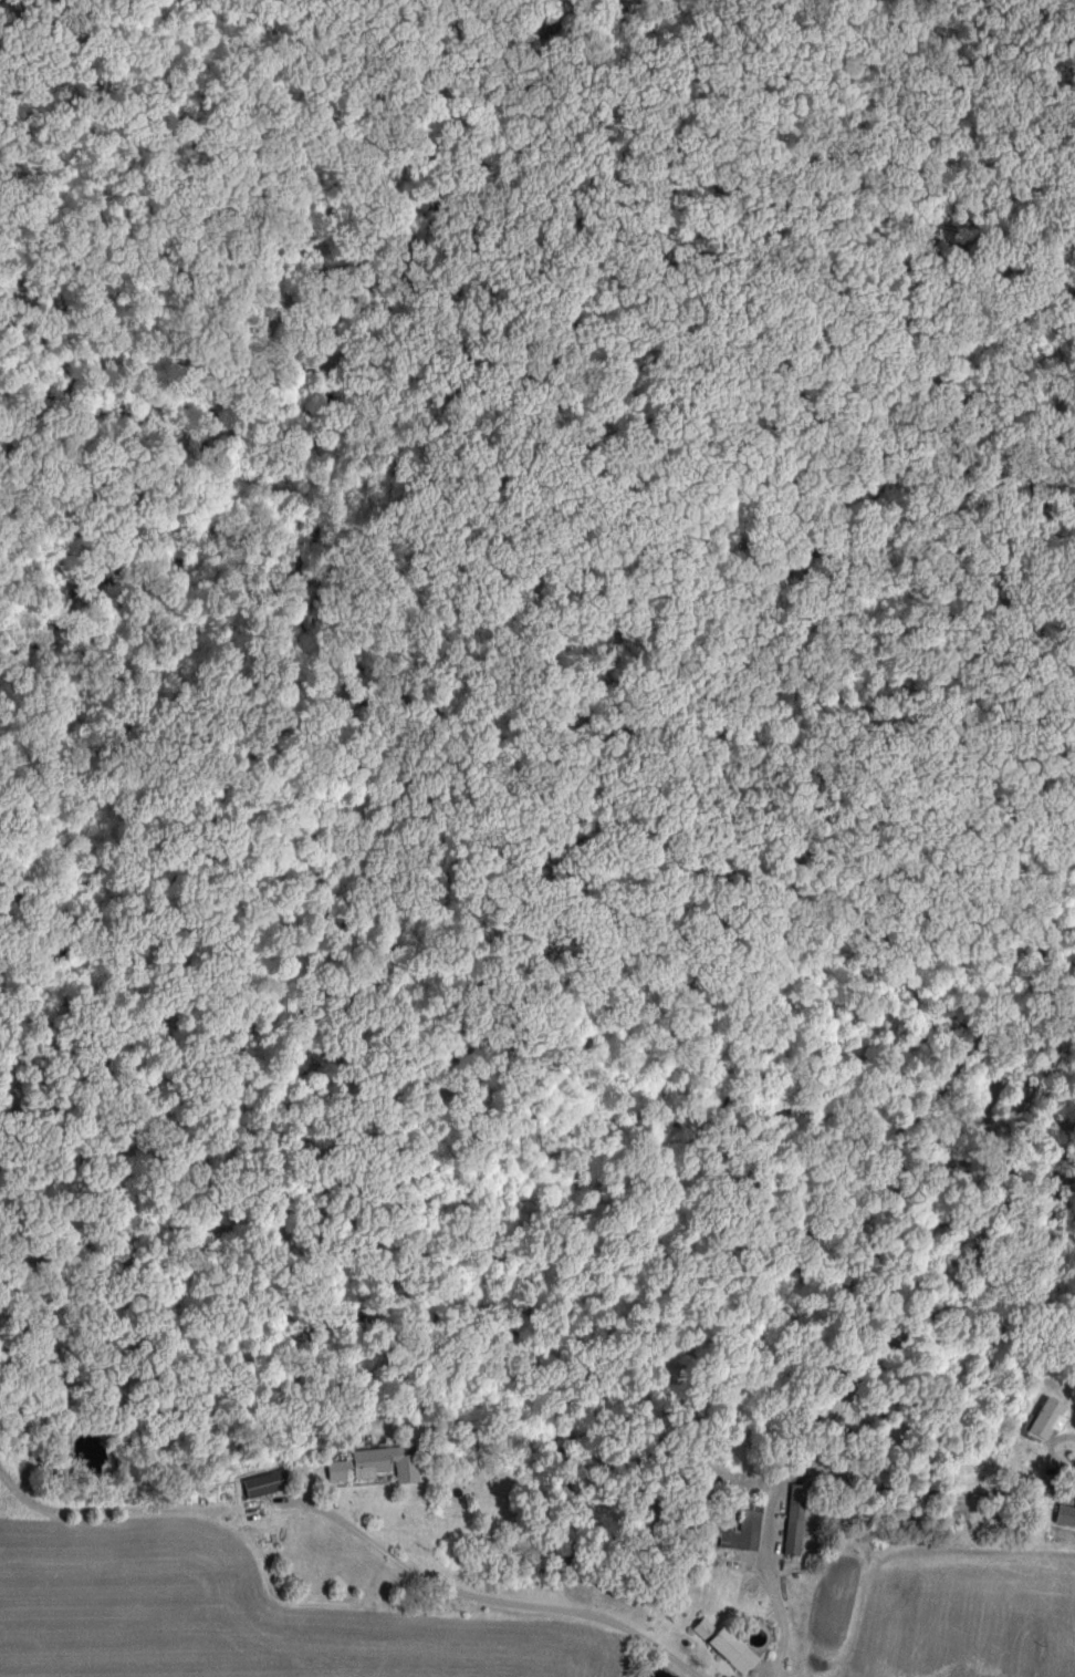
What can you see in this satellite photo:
building: (1042, 1417)
building: (370, 1463)
building: (259, 1483)
building: (1063, 1514)
building: (790, 1518)
building: (739, 1531)
road: (474, 1603)
road: (763, 1629)
building: (720, 1644)

